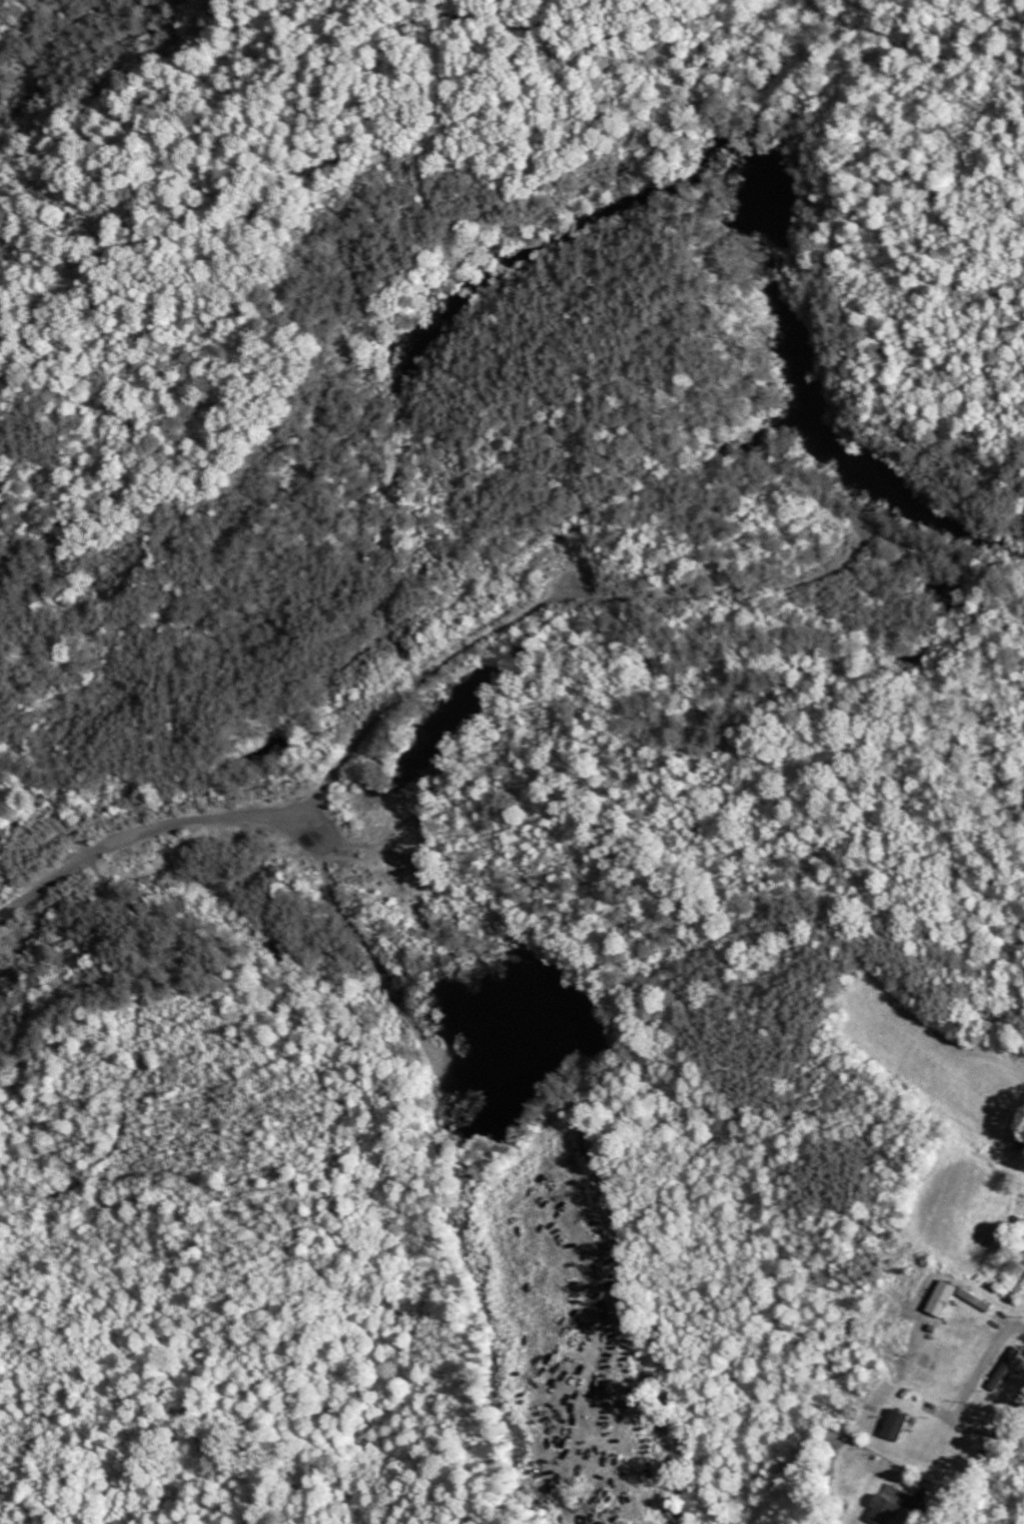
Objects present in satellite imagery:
building: (1009, 1369)
building: (900, 1425)
road: (982, 1464)
building: (890, 1505)

